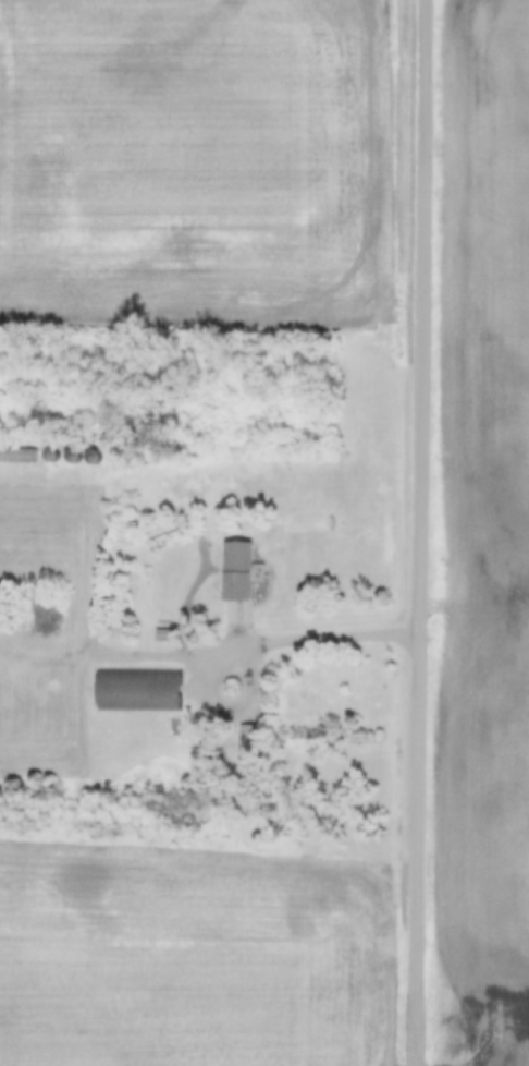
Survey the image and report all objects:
building: (16, 456)
building: (91, 459)
road: (425, 532)
building: (236, 571)
road: (246, 638)
building: (136, 691)
building: (247, 753)

